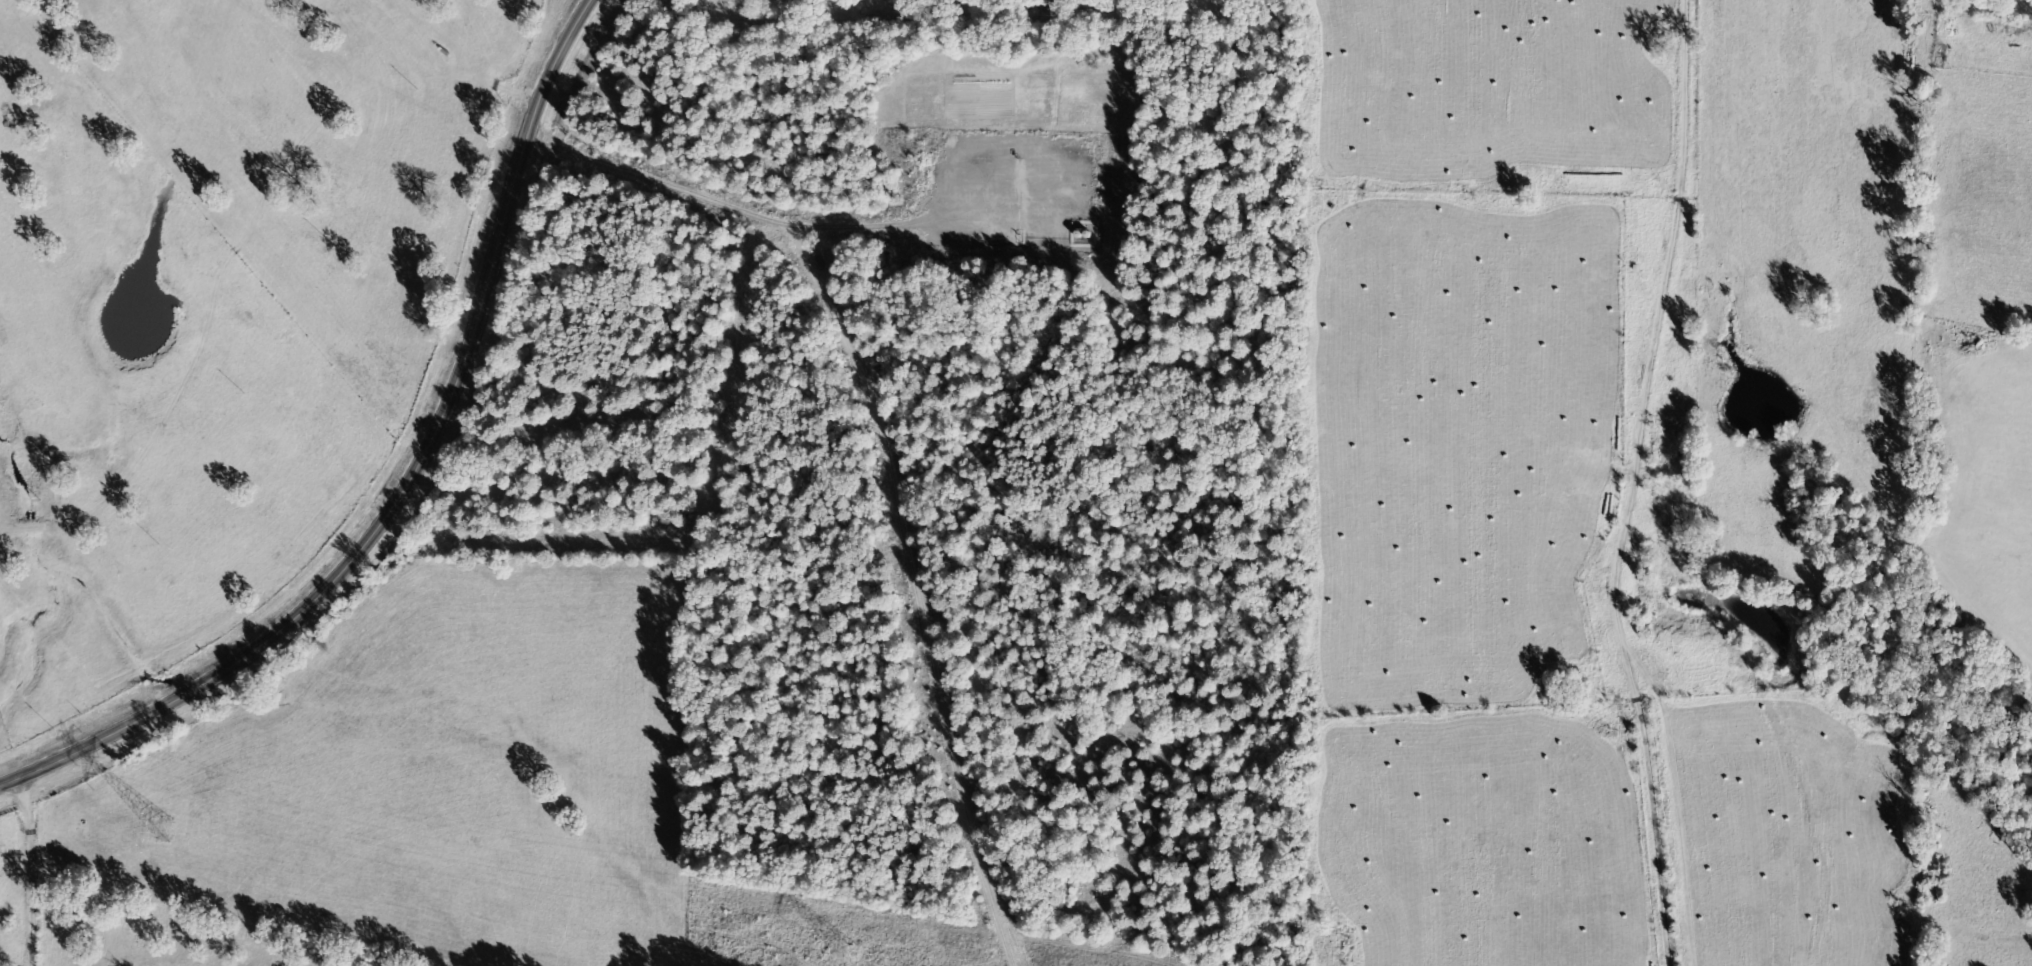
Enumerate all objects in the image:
road: (406, 480)
road: (1626, 490)
power tower: (147, 825)
power tower: (853, 953)

